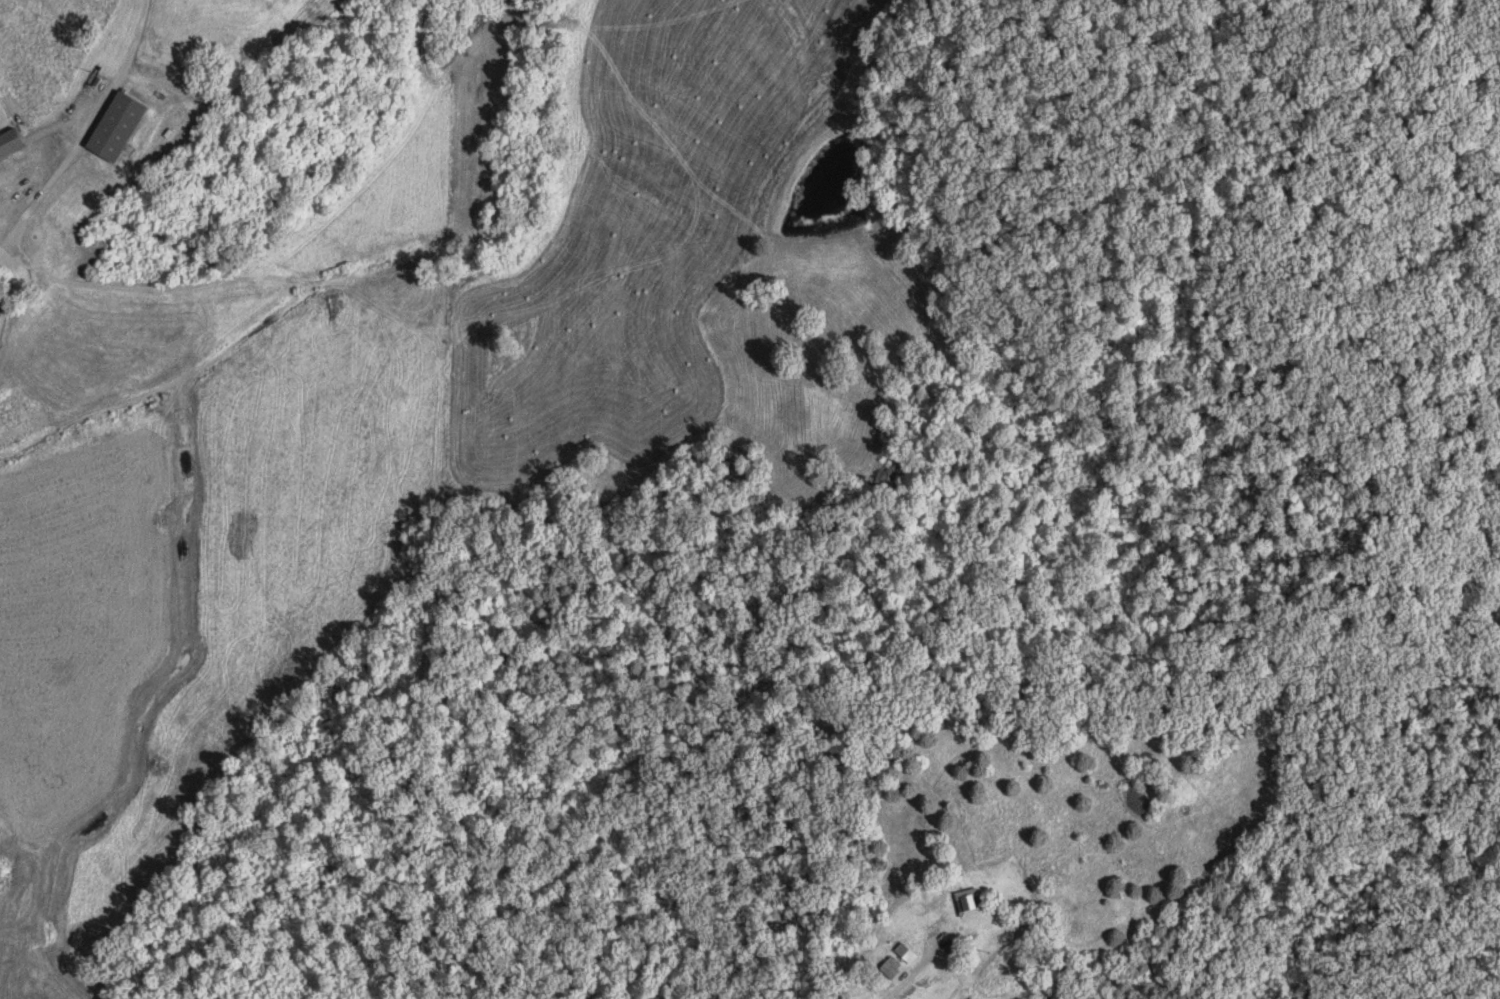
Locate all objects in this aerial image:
building: (123, 128)
road: (83, 133)
building: (13, 146)
building: (2, 318)
building: (965, 906)

